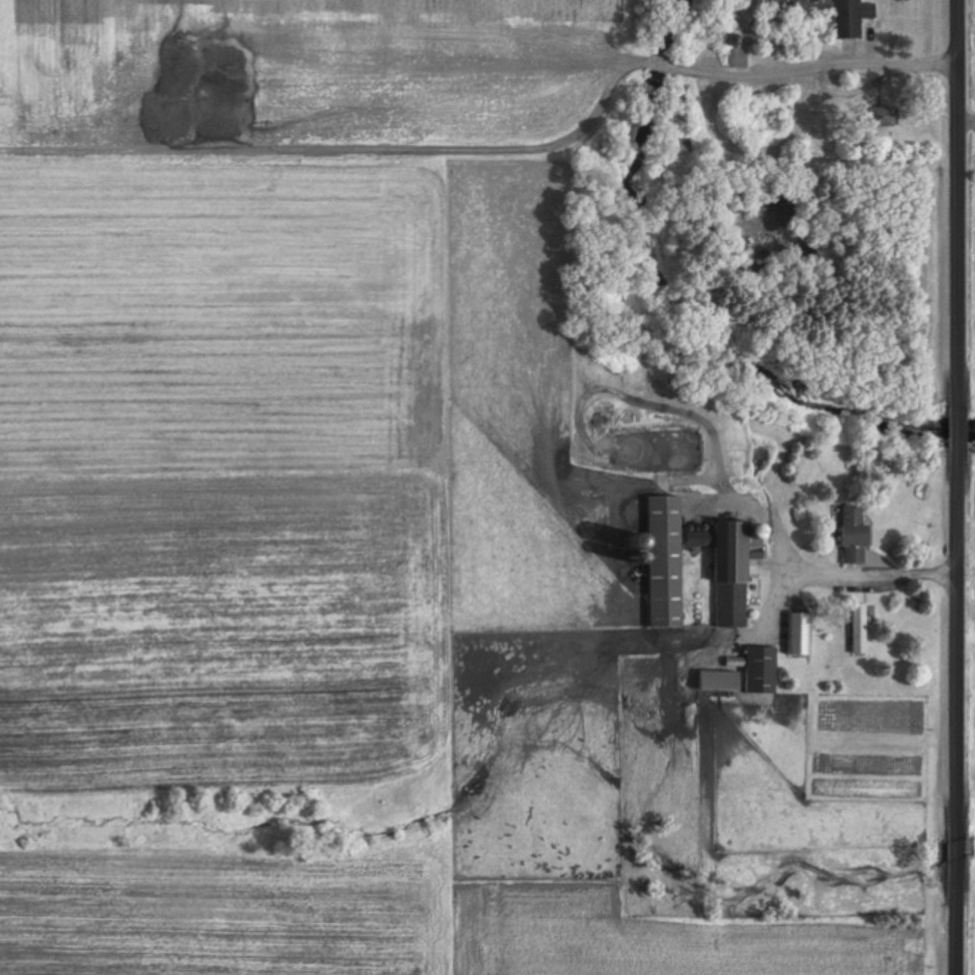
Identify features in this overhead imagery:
building: (837, 14)
building: (886, 119)
crop: (971, 195)
road: (959, 204)
river: (694, 300)
road: (960, 429)
building: (857, 536)
building: (667, 562)
building: (735, 572)
building: (861, 629)
building: (764, 669)
building: (721, 680)
road: (963, 712)

